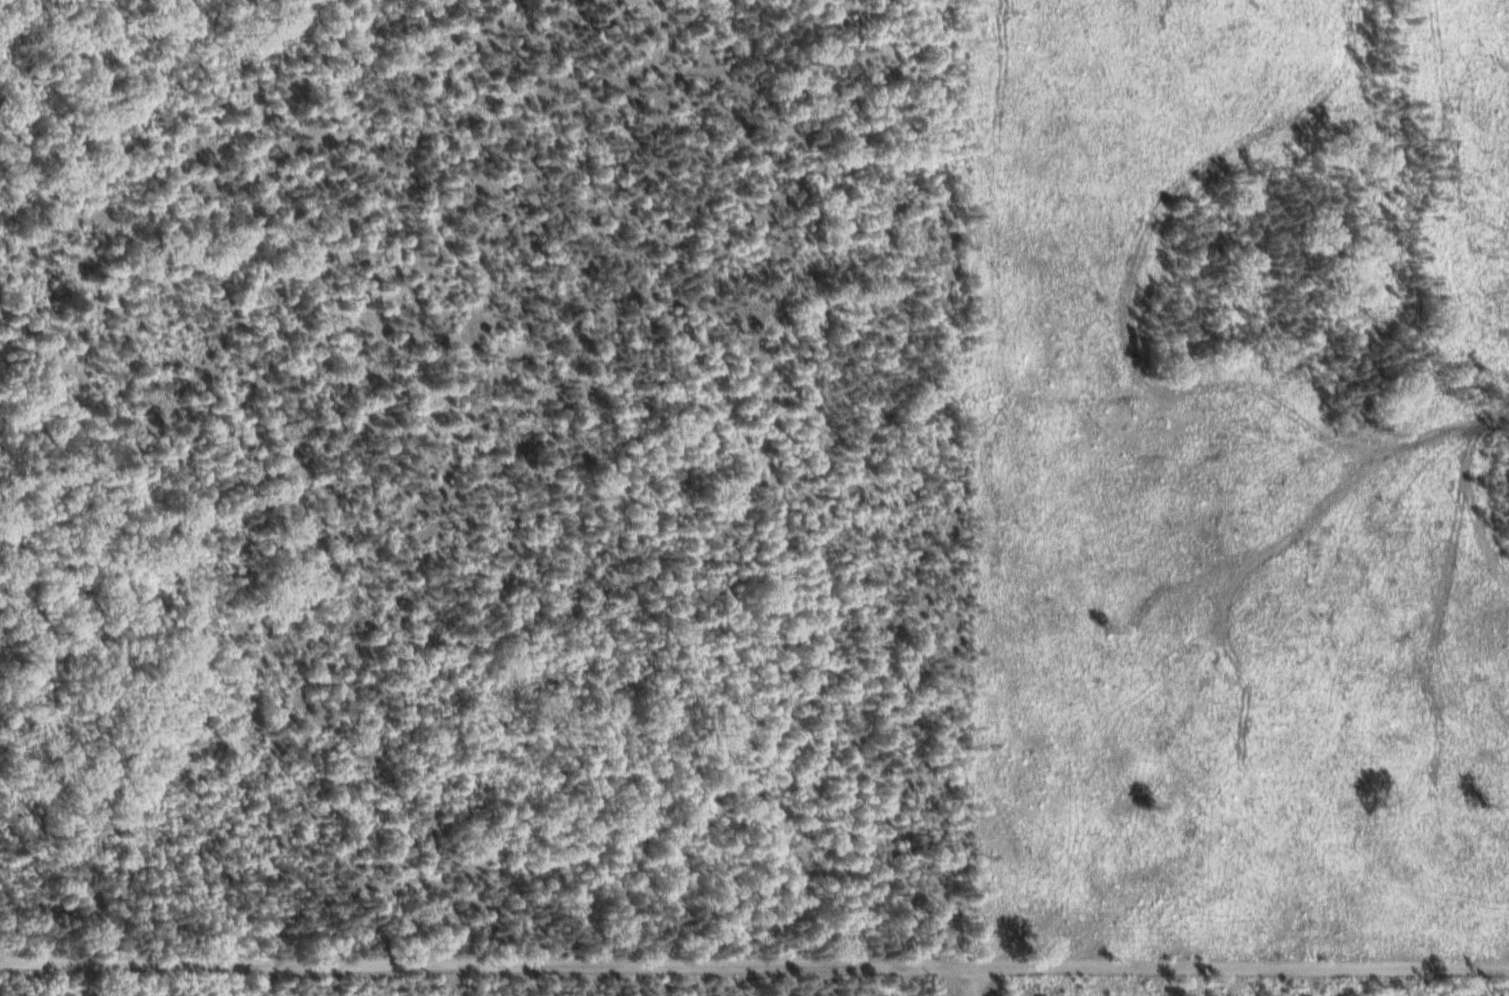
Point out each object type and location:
road: (1411, 257)
road: (754, 971)
road: (76, 983)
road: (976, 984)

